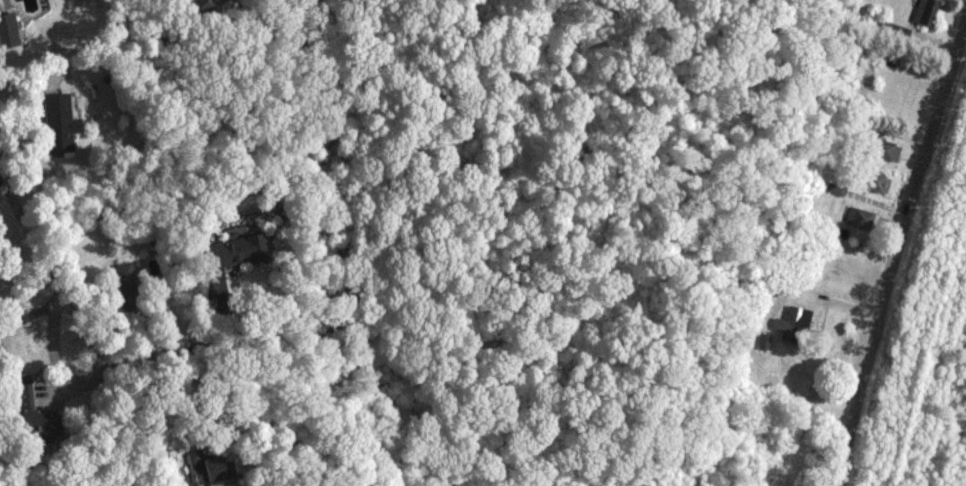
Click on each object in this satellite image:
building: (926, 11)
building: (12, 30)
building: (63, 122)
building: (860, 217)
road: (13, 230)
building: (245, 247)
road: (900, 249)
building: (125, 275)
building: (795, 320)
road: (24, 321)
road: (72, 390)
building: (208, 466)

